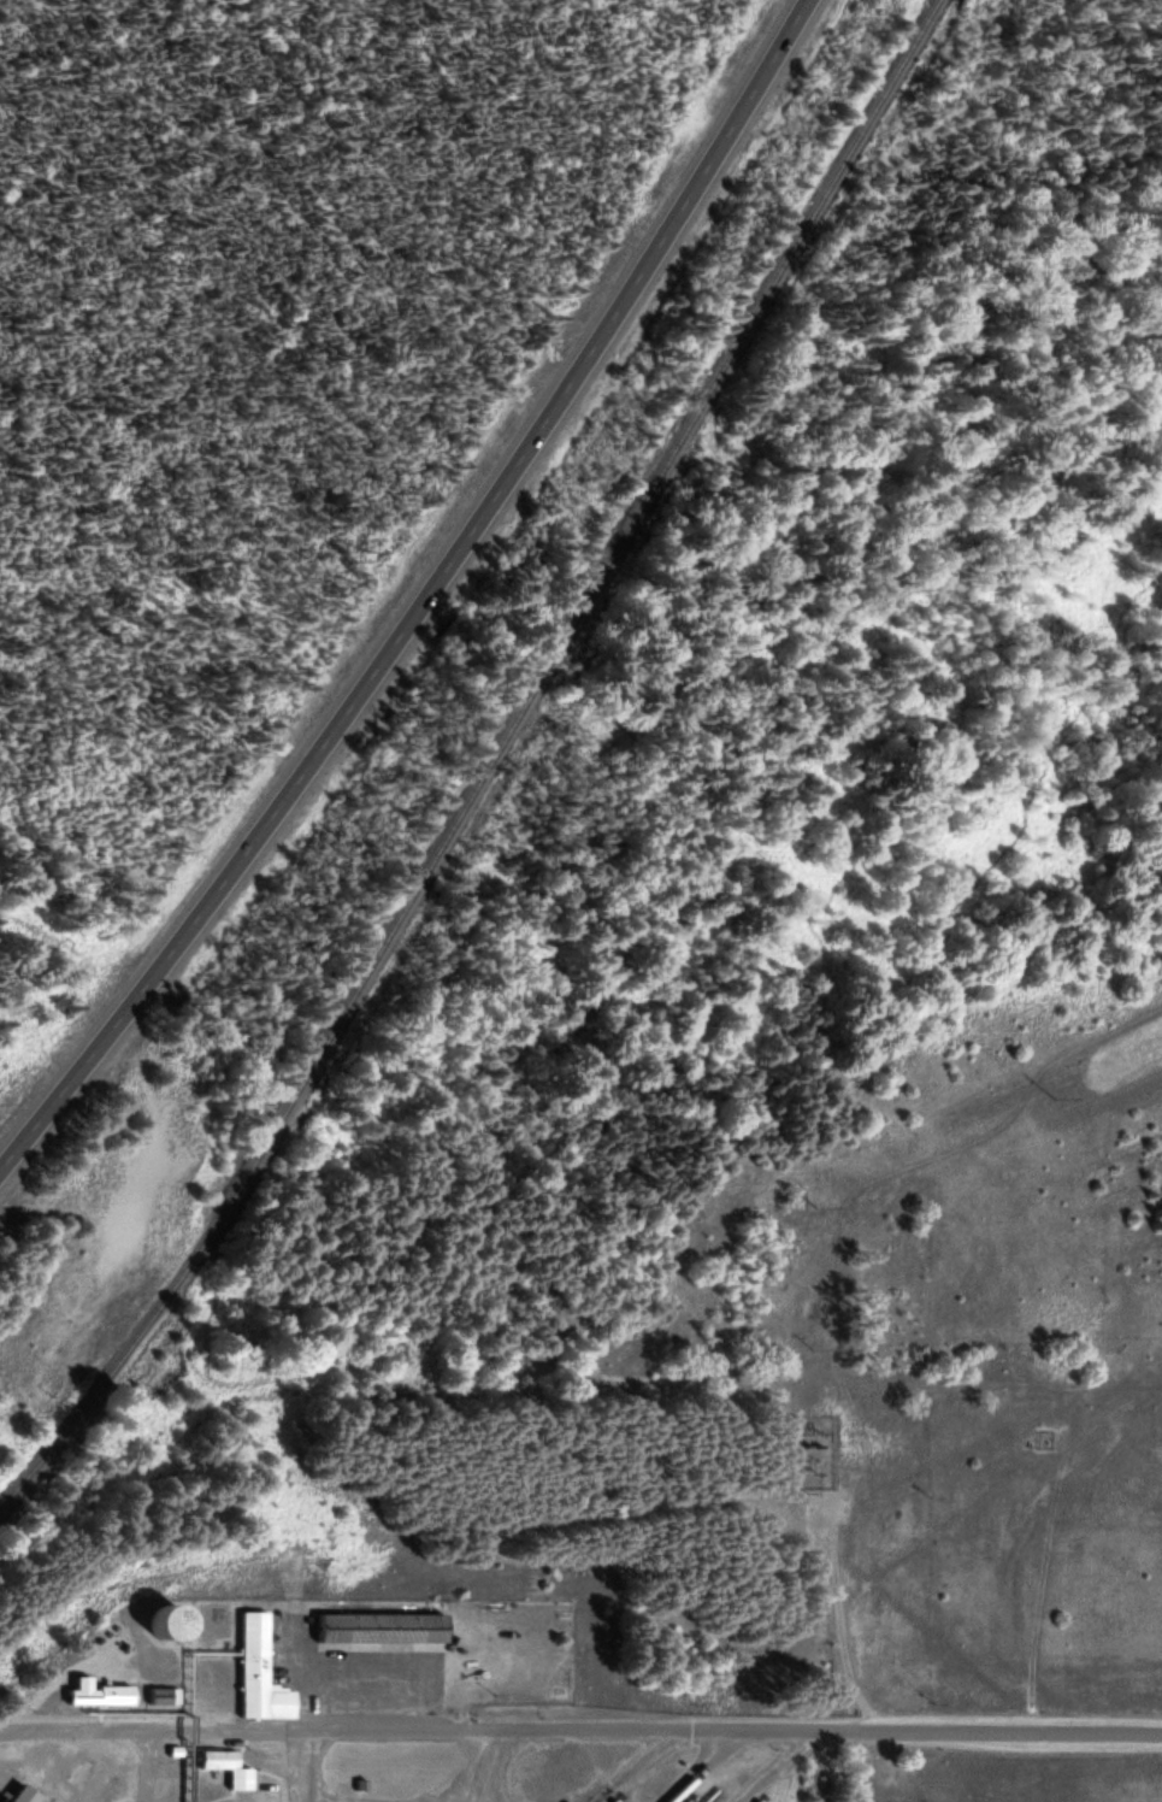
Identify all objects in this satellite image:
road: (425, 602)
railway: (488, 768)
power substation: (815, 1451)
building: (159, 1624)
water tower: (159, 1624)
building: (377, 1630)
building: (255, 1671)
building: (90, 1694)
building: (160, 1696)
road: (579, 1736)
building: (172, 1751)
building: (224, 1766)
building: (17, 1794)

